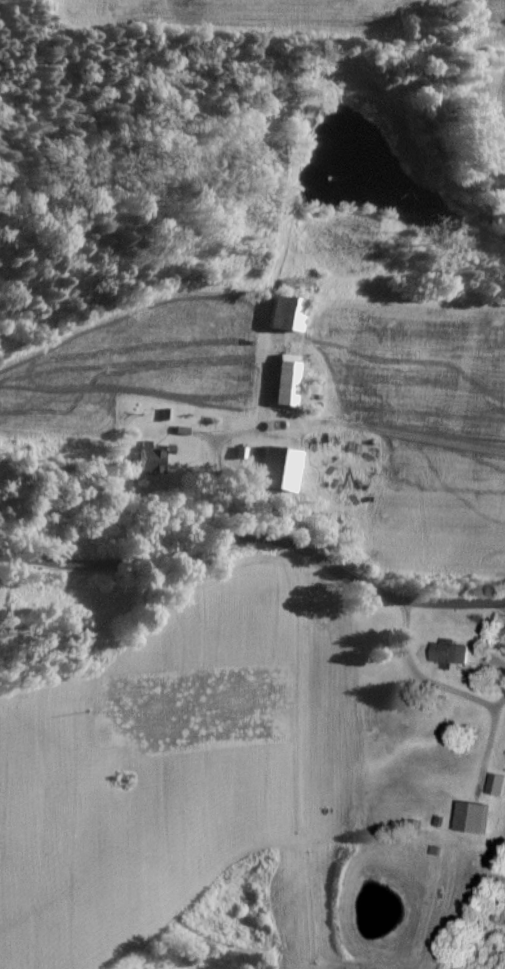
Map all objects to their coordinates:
building: (276, 315)
building: (278, 382)
building: (143, 460)
building: (268, 471)
road: (224, 489)
road: (258, 543)
building: (443, 653)
road: (417, 678)
building: (492, 785)
building: (465, 817)

